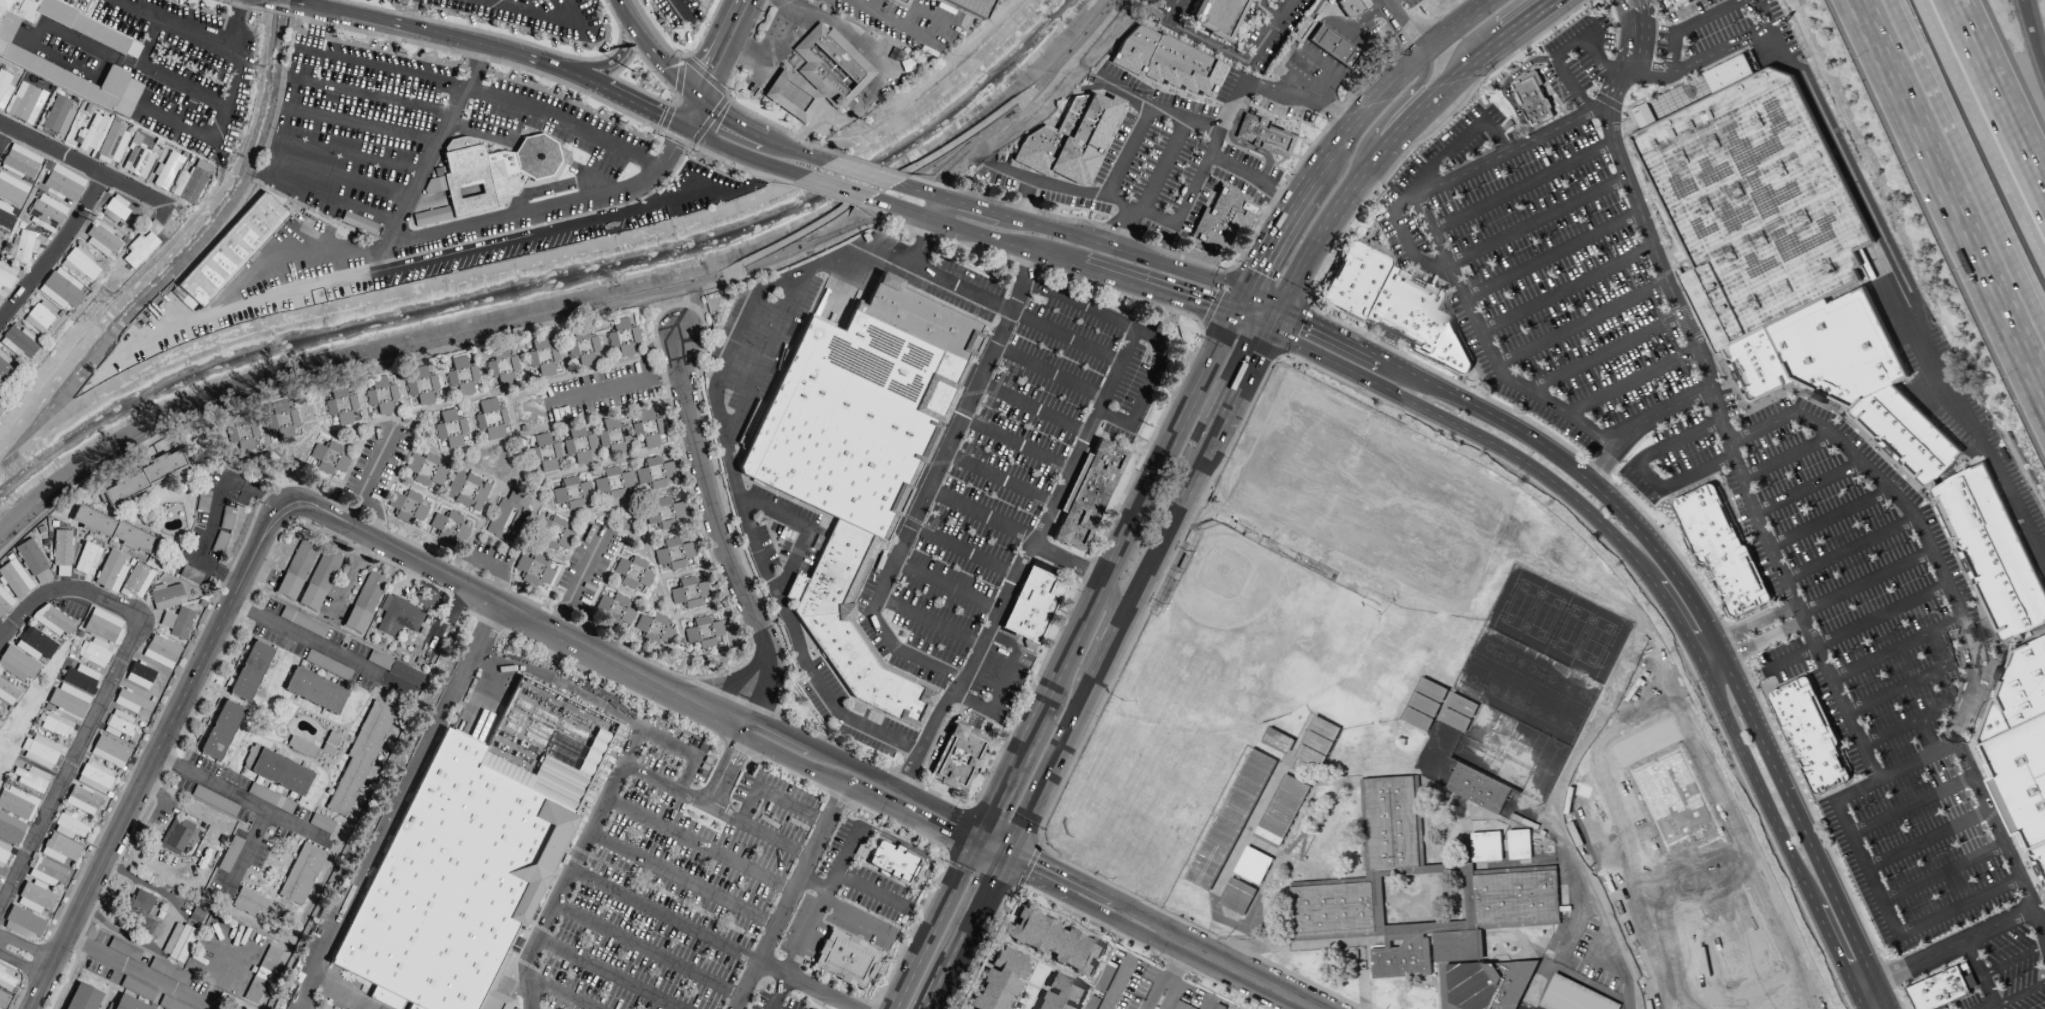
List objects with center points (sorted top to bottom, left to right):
road: (286, 0)
road: (61, 1)
building: (1675, 1)
road: (787, 2)
building: (900, 2)
road: (1491, 2)
road: (1385, 3)
road: (317, 4)
building: (7, 6)
road: (536, 6)
road: (674, 6)
building: (980, 7)
building: (25, 8)
road: (1758, 8)
parking lot: (1177, 9)
building: (1350, 10)
road: (1266, 11)
road: (1443, 11)
road: (56, 12)
building: (57, 12)
road: (1669, 14)
road: (412, 15)
building: (1218, 17)
road: (1532, 17)
road: (1364, 22)
road: (50, 23)
road: (1685, 24)
building: (0, 25)
road: (182, 25)
parking lot: (1716, 25)
road: (1455, 29)
road: (1405, 30)
building: (1303, 32)
parking lot: (1269, 34)
building: (101, 35)
road: (1626, 35)
road: (72, 37)
road: (449, 38)
road: (1642, 39)
road: (2034, 39)
road: (151, 41)
road: (858, 44)
road: (1493, 47)
building: (1334, 48)
gas station: (1334, 48)
building: (2, 49)
road: (722, 50)
building: (1136, 52)
road: (744, 53)
road: (1341, 53)
road: (1228, 54)
road: (650, 56)
road: (1697, 61)
road: (591, 66)
building: (830, 66)
building: (1184, 69)
building: (62, 71)
road: (1461, 73)
flagpole: (633, 75)
road: (1506, 86)
building: (4, 88)
road: (608, 91)
road: (2002, 93)
road: (497, 95)
road: (375, 96)
building: (791, 97)
building: (1532, 97)
road: (1299, 98)
building: (25, 103)
road: (722, 103)
road: (1396, 105)
road: (1155, 108)
road: (648, 110)
road: (691, 114)
road: (1415, 115)
building: (1642, 115)
building: (58, 116)
road: (1362, 116)
road: (222, 118)
road: (732, 119)
traffic signals: (684, 128)
road: (372, 130)
road: (1982, 132)
building: (91, 133)
road: (3, 135)
road: (793, 137)
building: (1266, 138)
road: (677, 139)
parking lot: (348, 140)
building: (1072, 142)
road: (434, 143)
road: (970, 144)
building: (113, 145)
road: (797, 150)
road: (744, 151)
road: (1128, 152)
road: (347, 156)
building: (540, 157)
building: (465, 158)
road: (1967, 158)
building: (137, 159)
building: (20, 163)
road: (873, 166)
road: (1163, 166)
road: (83, 167)
building: (166, 171)
building: (440, 171)
road: (891, 172)
building: (506, 174)
road: (864, 174)
road: (339, 177)
road: (910, 177)
road: (1253, 179)
road: (1416, 181)
building: (192, 182)
building: (62, 184)
road: (1194, 184)
road: (1522, 185)
building: (435, 186)
road: (1045, 186)
road: (881, 187)
road: (841, 188)
building: (12, 190)
road: (1307, 190)
building: (471, 191)
road: (1414, 192)
road: (1423, 192)
road: (649, 193)
road: (927, 194)
road: (1951, 194)
road: (827, 196)
road: (978, 197)
road: (839, 199)
building: (1758, 200)
road: (1023, 201)
road: (848, 202)
road: (1297, 205)
road: (861, 206)
road: (977, 208)
road: (905, 209)
building: (115, 210)
building: (45, 213)
building: (6, 216)
building: (432, 216)
road: (1537, 220)
building: (1225, 221)
building: (358, 223)
road: (1329, 223)
road: (951, 224)
road: (461, 227)
road: (1121, 228)
road: (534, 236)
building: (101, 240)
building: (0, 241)
road: (815, 242)
road: (958, 242)
road: (923, 243)
building: (24, 248)
road: (1024, 248)
building: (140, 250)
building: (233, 250)
road: (1123, 252)
road: (54, 253)
road: (1268, 253)
road: (1552, 254)
building: (79, 264)
parking lot: (1563, 274)
building: (6, 276)
road: (1566, 289)
building: (61, 290)
road: (1156, 292)
traffic signals: (1247, 293)
road: (1909, 293)
building: (183, 298)
road: (1262, 299)
building: (1394, 304)
road: (1079, 305)
road: (1240, 305)
traffic signals: (1278, 306)
road: (693, 307)
building: (1706, 309)
road: (577, 310)
road: (1271, 317)
building: (38, 318)
traffic signals: (1234, 318)
road: (1249, 323)
road: (1581, 323)
traffic signals: (1265, 329)
road: (1331, 333)
building: (622, 338)
road: (1065, 339)
building: (927, 341)
building: (18, 343)
building: (1841, 348)
building: (585, 349)
road: (681, 351)
road: (1605, 352)
building: (542, 357)
road: (767, 358)
building: (4, 364)
building: (1758, 365)
building: (501, 369)
road: (1049, 374)
building: (461, 376)
road: (1242, 376)
road: (1631, 380)
building: (419, 387)
road: (614, 389)
road: (1146, 391)
building: (381, 396)
building: (340, 406)
road: (1032, 409)
road: (718, 419)
building: (490, 420)
building: (281, 422)
road: (1640, 423)
building: (847, 425)
building: (450, 429)
building: (647, 429)
road: (1724, 429)
building: (1906, 433)
building: (241, 435)
road: (1474, 435)
building: (613, 437)
road: (1212, 440)
building: (579, 445)
road: (1015, 445)
building: (544, 453)
road: (1786, 456)
building: (328, 458)
road: (1640, 469)
building: (425, 470)
building: (655, 473)
road: (370, 475)
building: (142, 479)
road: (999, 481)
building: (614, 485)
road: (929, 487)
road: (1806, 487)
building: (466, 491)
building: (572, 493)
building: (1090, 495)
road: (218, 503)
park: (1384, 506)
building: (407, 507)
road: (1138, 510)
building: (664, 513)
road: (981, 516)
building: (508, 517)
road: (1827, 517)
building: (226, 518)
building: (91, 521)
building: (447, 528)
road: (805, 531)
road: (1165, 533)
building: (554, 535)
building: (132, 539)
road: (1848, 548)
building: (1721, 549)
building: (1991, 551)
building: (61, 552)
road: (962, 552)
building: (673, 554)
road: (724, 555)
building: (87, 559)
building: (33, 563)
road: (1067, 563)
road: (1018, 567)
building: (325, 568)
building: (534, 568)
building: (296, 570)
building: (111, 572)
building: (632, 573)
building: (190, 574)
road: (226, 576)
road: (581, 578)
building: (14, 579)
building: (136, 581)
road: (1864, 581)
road: (946, 588)
building: (689, 593)
building: (166, 596)
building: (310, 598)
building: (4, 602)
parking lot: (1867, 602)
road: (36, 603)
building: (363, 603)
building: (1035, 605)
building: (613, 607)
building: (398, 617)
road: (1674, 617)
building: (52, 620)
road: (1961, 620)
building: (177, 623)
road: (929, 623)
road: (487, 624)
park: (1557, 624)
building: (650, 625)
road: (1703, 625)
building: (103, 626)
road: (1854, 626)
road: (1743, 627)
building: (852, 628)
road: (1117, 629)
building: (703, 632)
building: (665, 636)
park: (1240, 639)
road: (582, 643)
road: (1751, 644)
building: (34, 645)
road: (318, 645)
road: (1895, 650)
building: (160, 652)
building: (94, 653)
building: (16, 665)
road: (515, 667)
building: (396, 669)
building: (250, 671)
building: (80, 679)
road: (728, 679)
road: (1002, 684)
road: (1907, 684)
building: (2021, 684)
park: (1526, 686)
building: (1432, 690)
building: (315, 691)
building: (7, 693)
road: (615, 697)
building: (68, 701)
building: (130, 702)
building: (1424, 704)
building: (1462, 705)
building: (1417, 719)
building: (1455, 720)
road: (1913, 721)
building: (118, 724)
building: (1990, 724)
building: (56, 726)
building: (1324, 727)
building: (220, 730)
building: (1810, 734)
building: (1278, 739)
road: (83, 740)
building: (1317, 741)
road: (729, 746)
park: (1519, 748)
building: (40, 752)
building: (109, 752)
road: (1056, 752)
building: (1309, 755)
building: (359, 760)
building: (960, 760)
road: (151, 763)
park: (1490, 763)
building: (276, 771)
road: (1009, 772)
building: (95, 777)
road: (1398, 777)
building: (2021, 777)
building: (31, 779)
road: (1753, 779)
road: (667, 781)
building: (1477, 788)
building: (82, 800)
road: (242, 801)
park: (1141, 801)
building: (17, 803)
road: (1910, 804)
road: (723, 809)
building: (1281, 810)
building: (1230, 819)
building: (1523, 820)
road: (935, 821)
building: (1392, 822)
building: (68, 825)
building: (10, 830)
road: (1248, 831)
road: (1303, 833)
building: (175, 836)
road: (1926, 838)
building: (1328, 839)
parking lot: (1926, 839)
traffic signals: (975, 841)
building: (1519, 843)
road: (700, 845)
building: (1486, 846)
road: (990, 848)
building: (59, 849)
road: (1266, 849)
road: (917, 853)
building: (3, 854)
road: (1442, 855)
traffic signals: (1005, 856)
road: (843, 858)
building: (2039, 860)
road: (601, 861)
building: (893, 862)
building: (1253, 864)
road: (1865, 866)
road: (1270, 868)
building: (47, 872)
road: (1386, 872)
road: (1942, 873)
building: (301, 874)
track: (1673, 877)
park: (1674, 879)
road: (683, 881)
building: (454, 887)
road: (871, 891)
road: (792, 893)
building: (1236, 896)
road: (1394, 896)
building: (1516, 897)
building: (34, 898)
building: (255, 906)
building: (1333, 908)
building: (141, 913)
building: (195, 916)
road: (856, 919)
road: (814, 920)
road: (2042, 923)
building: (22, 924)
road: (166, 925)
road: (933, 925)
road: (1383, 930)
road: (1159, 931)
road: (966, 932)
road: (713, 939)
building: (1056, 939)
road: (1522, 942)
building: (1458, 945)
road: (1186, 947)
road: (1942, 948)
road: (1832, 949)
road: (650, 950)
building: (1401, 956)
road: (24, 957)
road: (1435, 959)
building: (846, 960)
road: (2012, 960)
road: (1049, 965)
building: (169, 972)
road: (137, 973)
road: (608, 973)
road: (1977, 973)
building: (263, 975)
road: (1074, 976)
building: (6, 980)
building: (1003, 983)
building: (1484, 983)
road: (1116, 985)
building: (1943, 988)
road: (347, 990)
road: (1362, 990)
road: (780, 993)
building: (1061, 993)
road: (559, 995)
road: (2016, 995)
building: (1573, 996)
building: (80, 997)
road: (1626, 999)
building: (3, 1000)
road: (1856, 1000)
building: (1091, 1002)
road: (1204, 1002)
building: (127, 1004)
road: (1145, 1005)
building: (1181, 1005)
building: (1218, 1006)
parking lot: (1520, 1006)
road: (1163, 1007)
parking lot: (1535, 1008)

